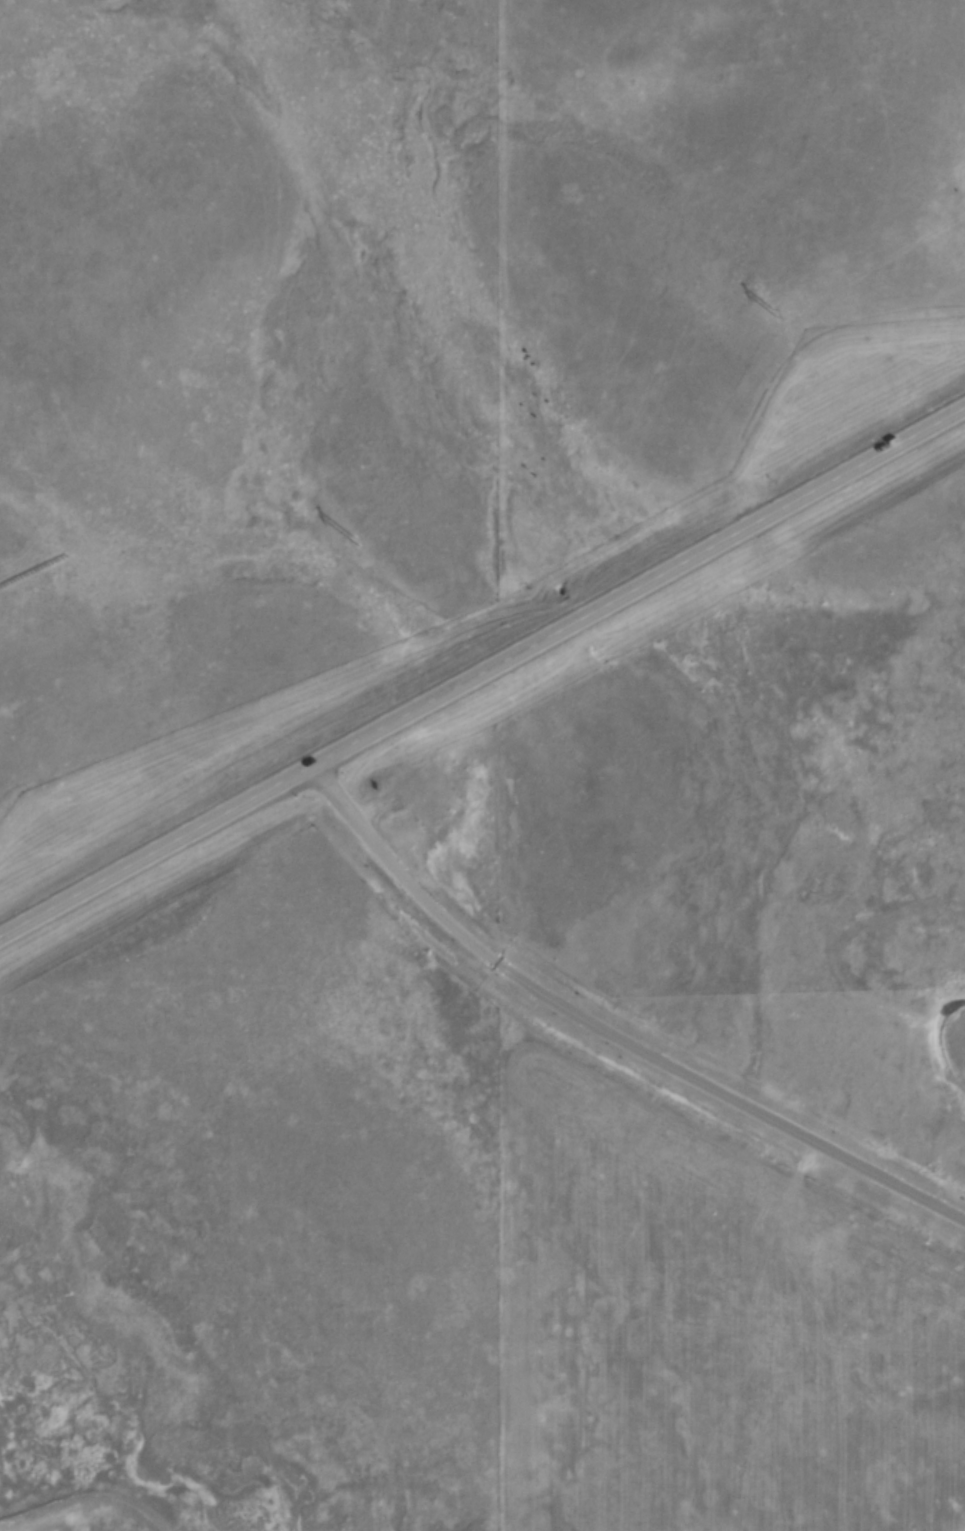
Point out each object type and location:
power tower: (773, 311)
power tower: (351, 543)
road: (482, 675)
road: (626, 1011)

